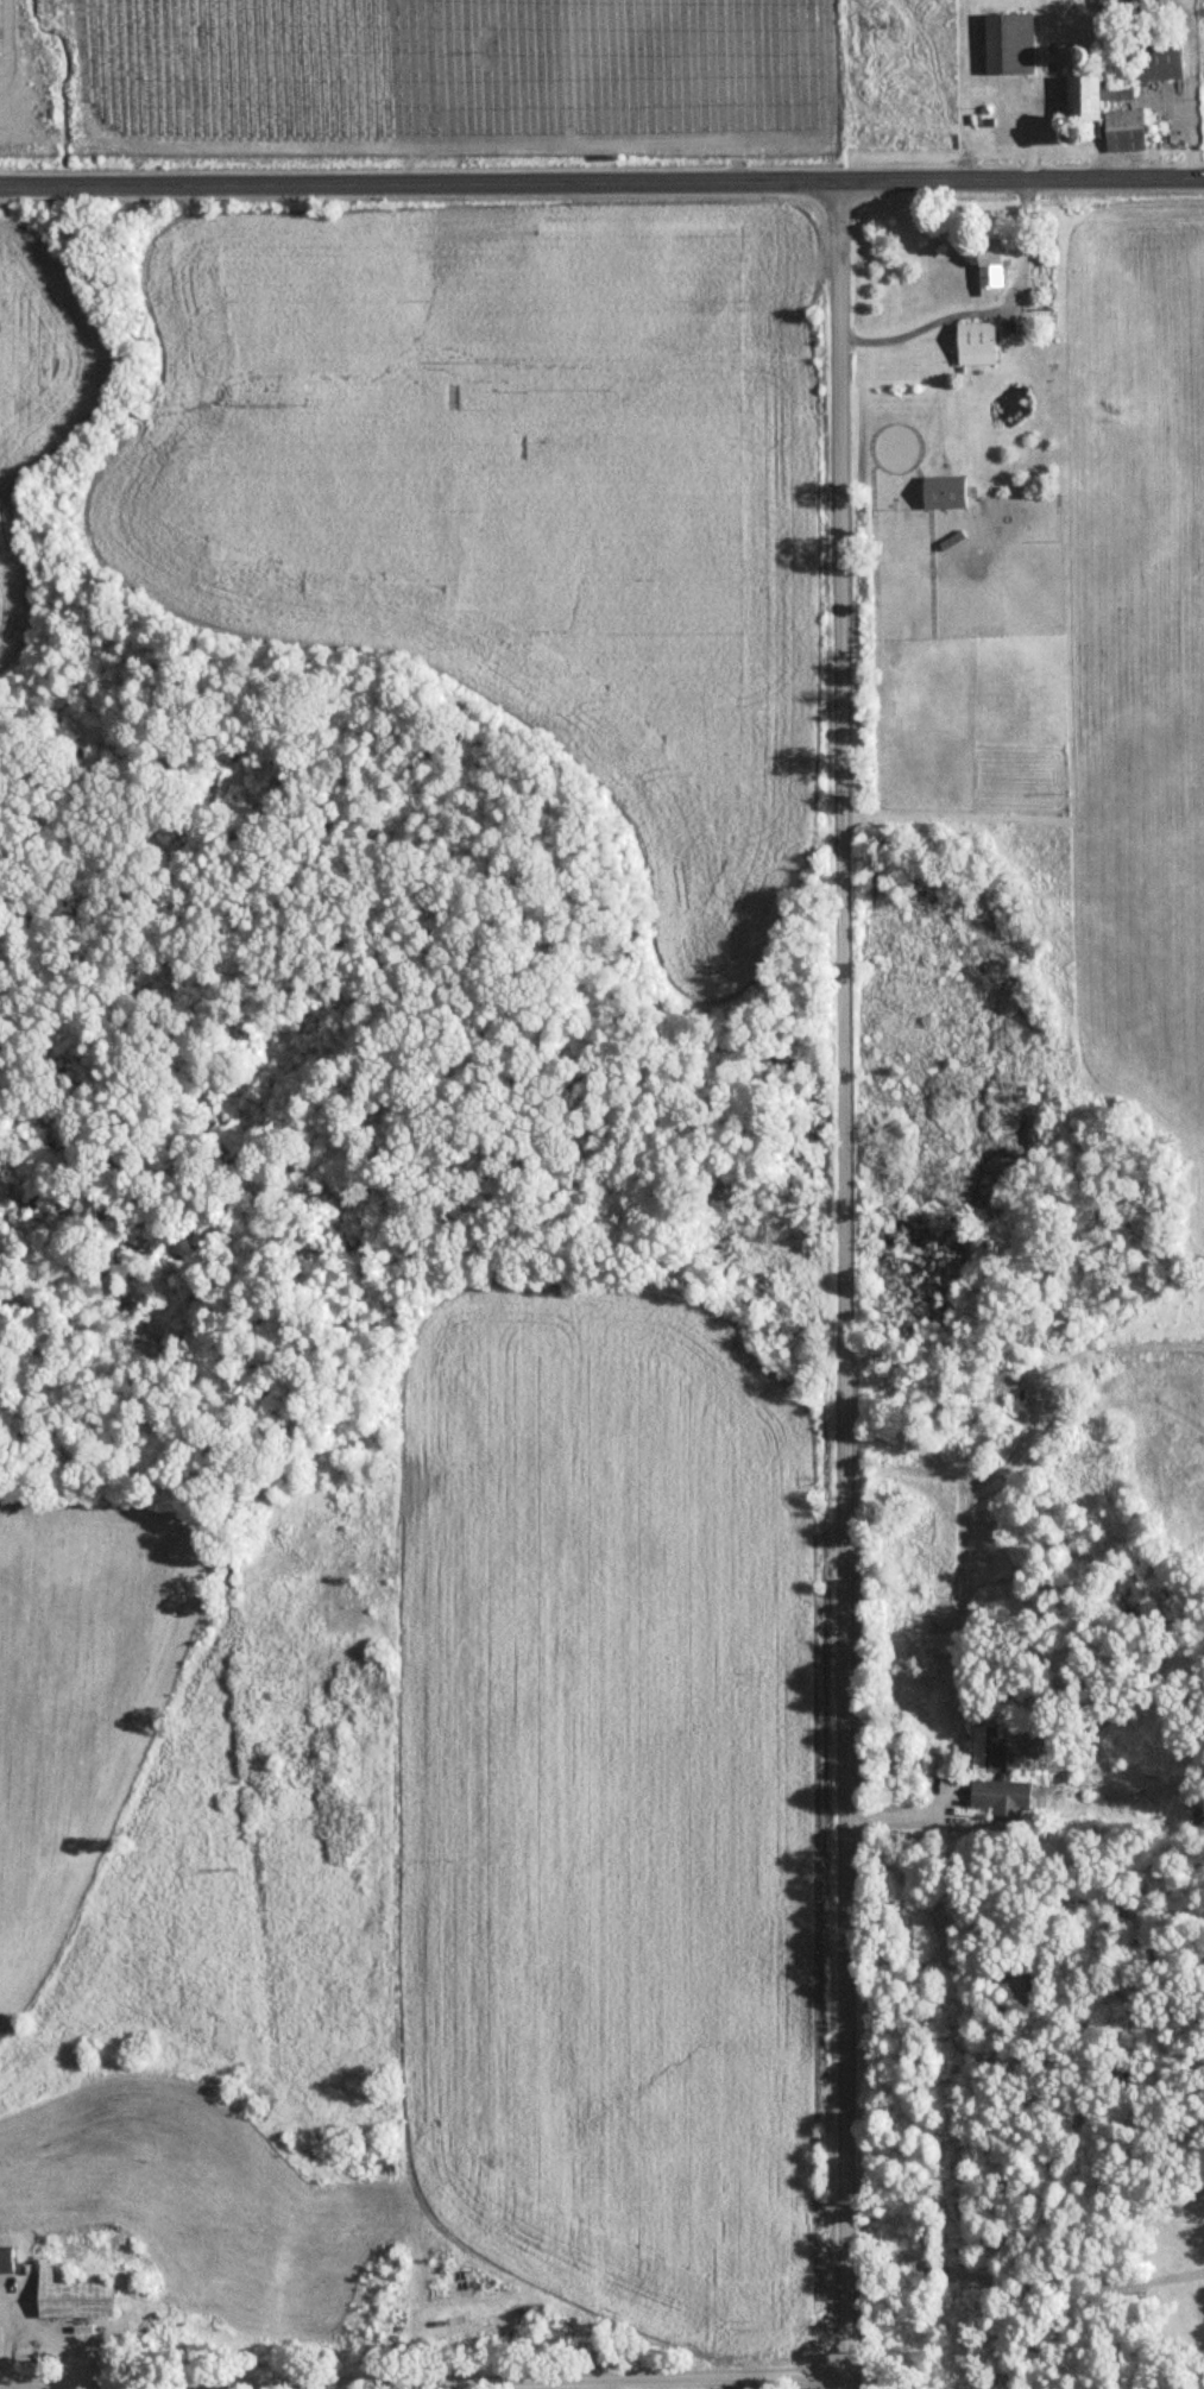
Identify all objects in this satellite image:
building: (1134, 5)
building: (1013, 45)
building: (1133, 92)
road: (601, 181)
building: (996, 272)
road: (984, 309)
building: (981, 345)
building: (948, 492)
road: (844, 1284)
building: (941, 1645)
building: (990, 1752)
building: (1003, 1799)
road: (908, 1816)
building: (8, 2262)
road: (1023, 2284)
building: (78, 2300)
road: (423, 2382)
road: (593, 2384)
road: (732, 2384)

